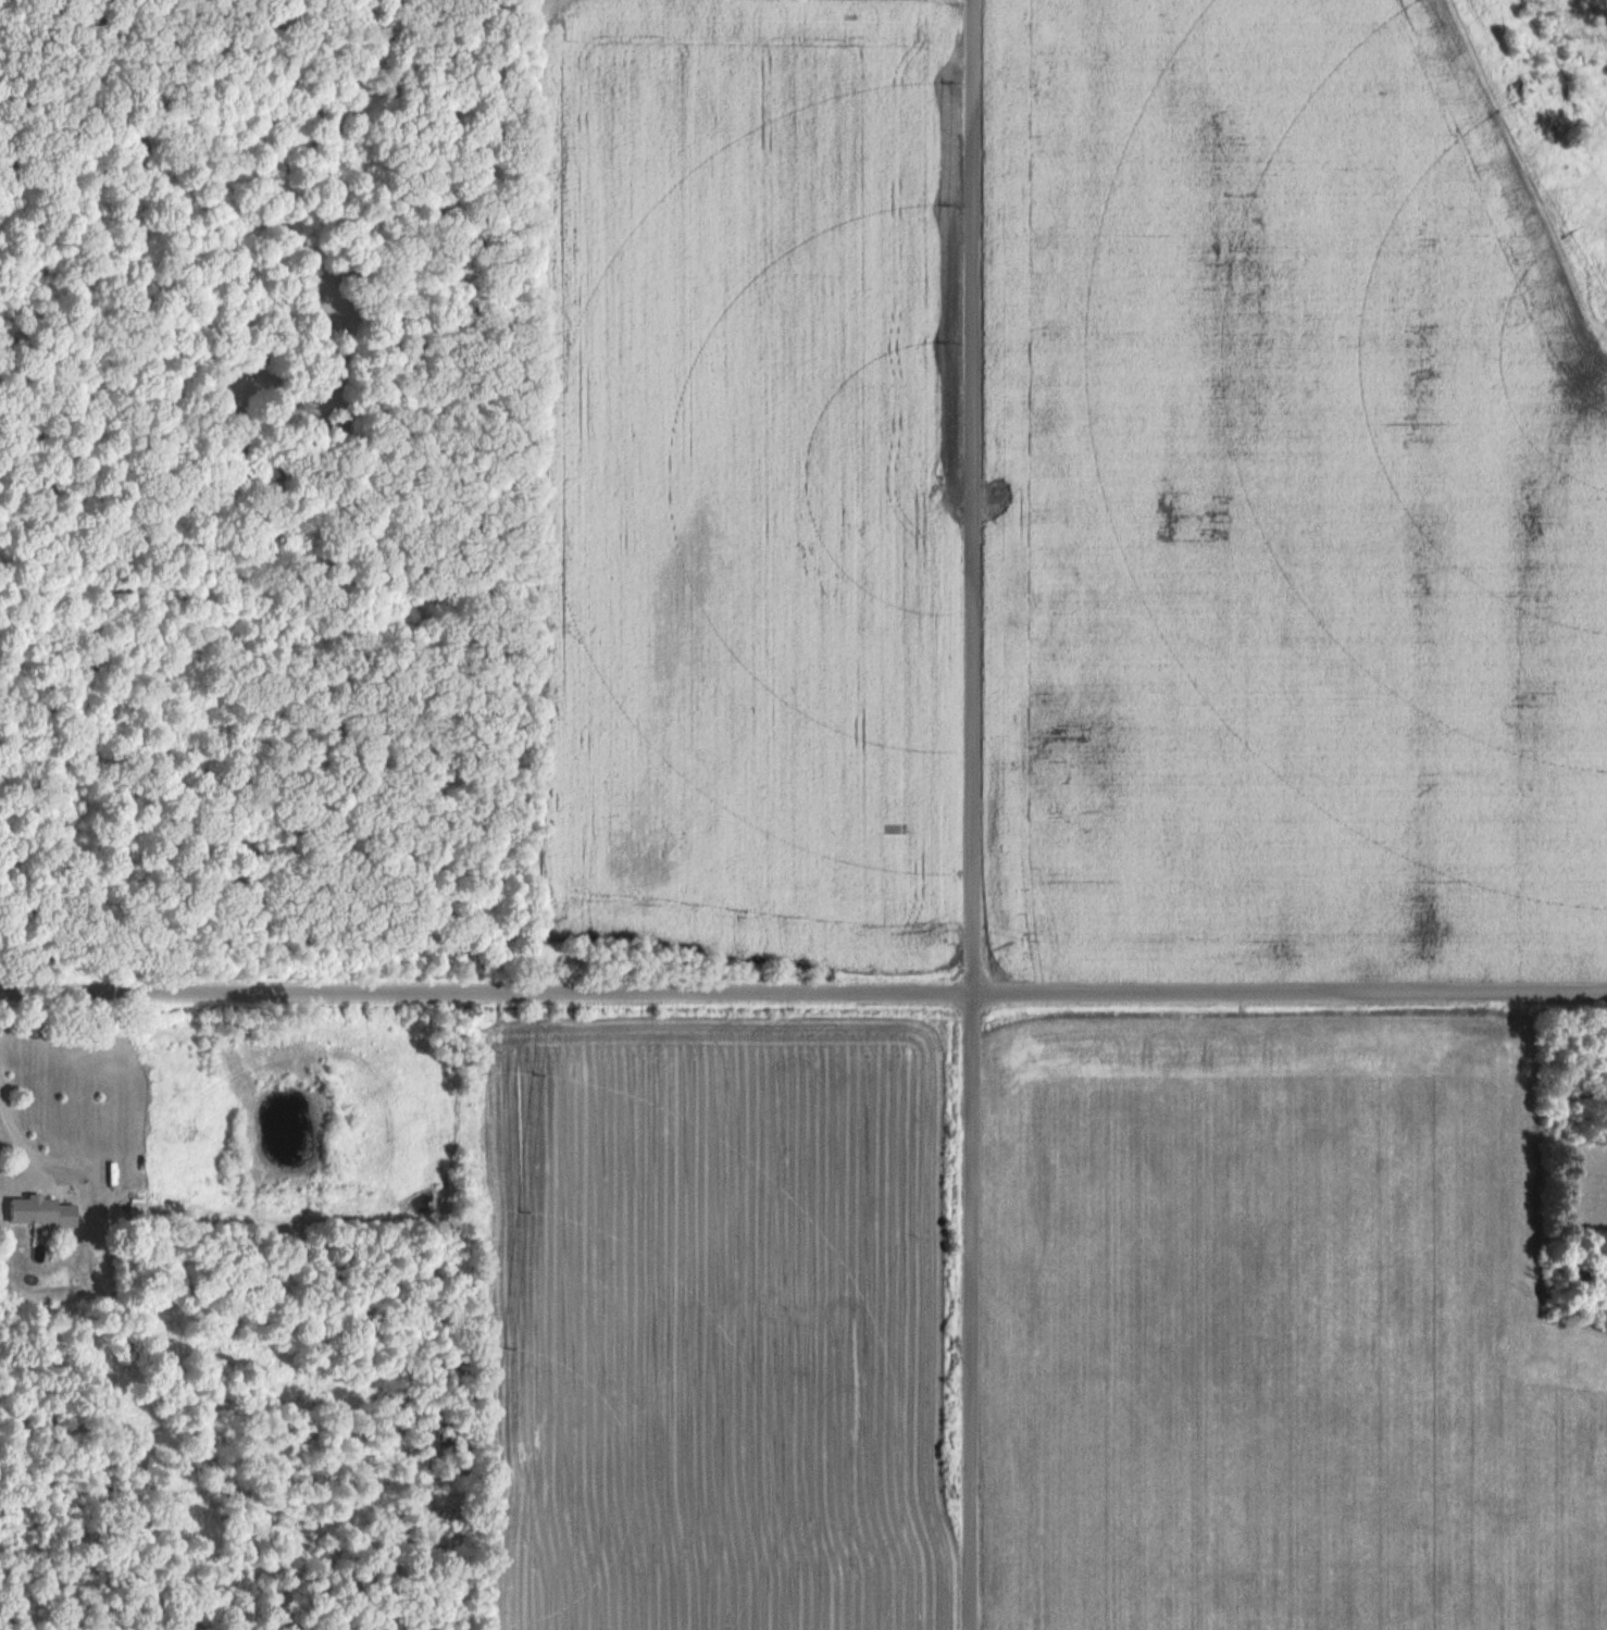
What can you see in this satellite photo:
road: (970, 814)
road: (802, 995)
road: (20, 1137)
building: (37, 1211)

